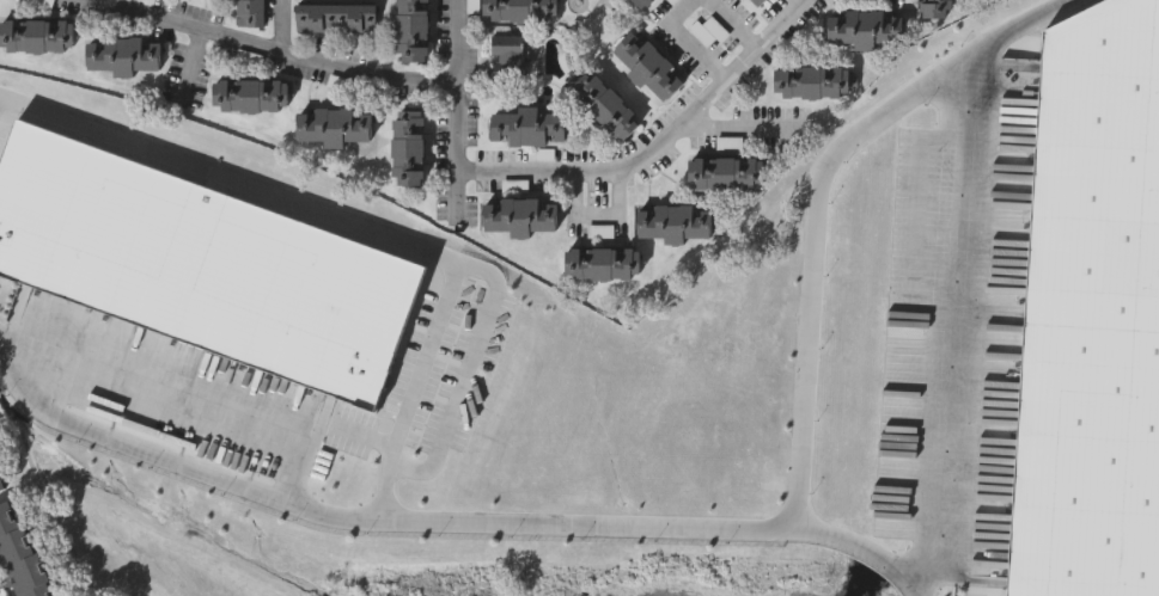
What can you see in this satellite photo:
building: (675, 2)
building: (641, 4)
building: (755, 4)
building: (935, 10)
building: (521, 12)
building: (252, 14)
building: (336, 19)
road: (732, 21)
road: (280, 24)
building: (411, 31)
building: (866, 31)
building: (710, 32)
building: (36, 37)
road: (685, 37)
building: (124, 56)
road: (307, 56)
building: (506, 62)
road: (193, 66)
building: (647, 68)
building: (812, 85)
building: (252, 98)
building: (608, 109)
building: (335, 128)
road: (731, 128)
building: (529, 129)
building: (407, 149)
road: (612, 172)
building: (724, 177)
road: (816, 198)
building: (520, 219)
road: (360, 225)
building: (672, 225)
building: (202, 262)
building: (604, 265)
building: (1092, 314)
road: (956, 324)
road: (181, 393)
building: (1, 485)
building: (0, 494)
road: (373, 521)
road: (861, 546)
building: (19, 555)

